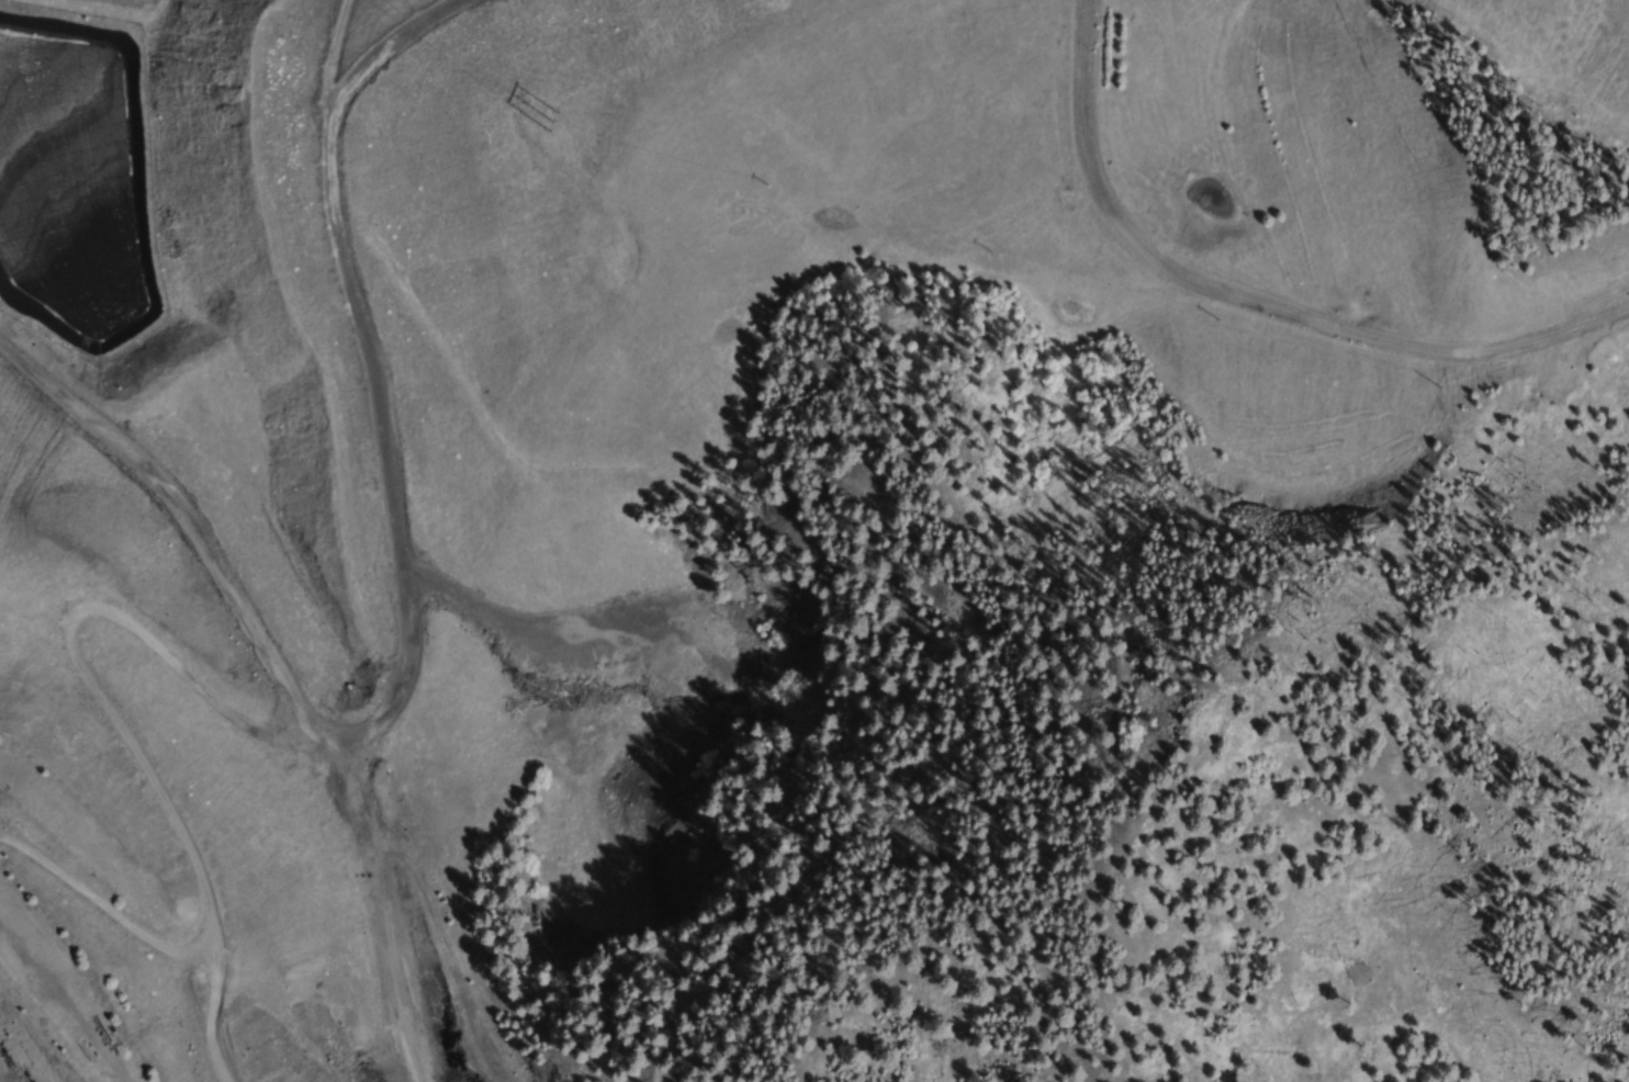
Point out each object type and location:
quarry: (191, 537)

